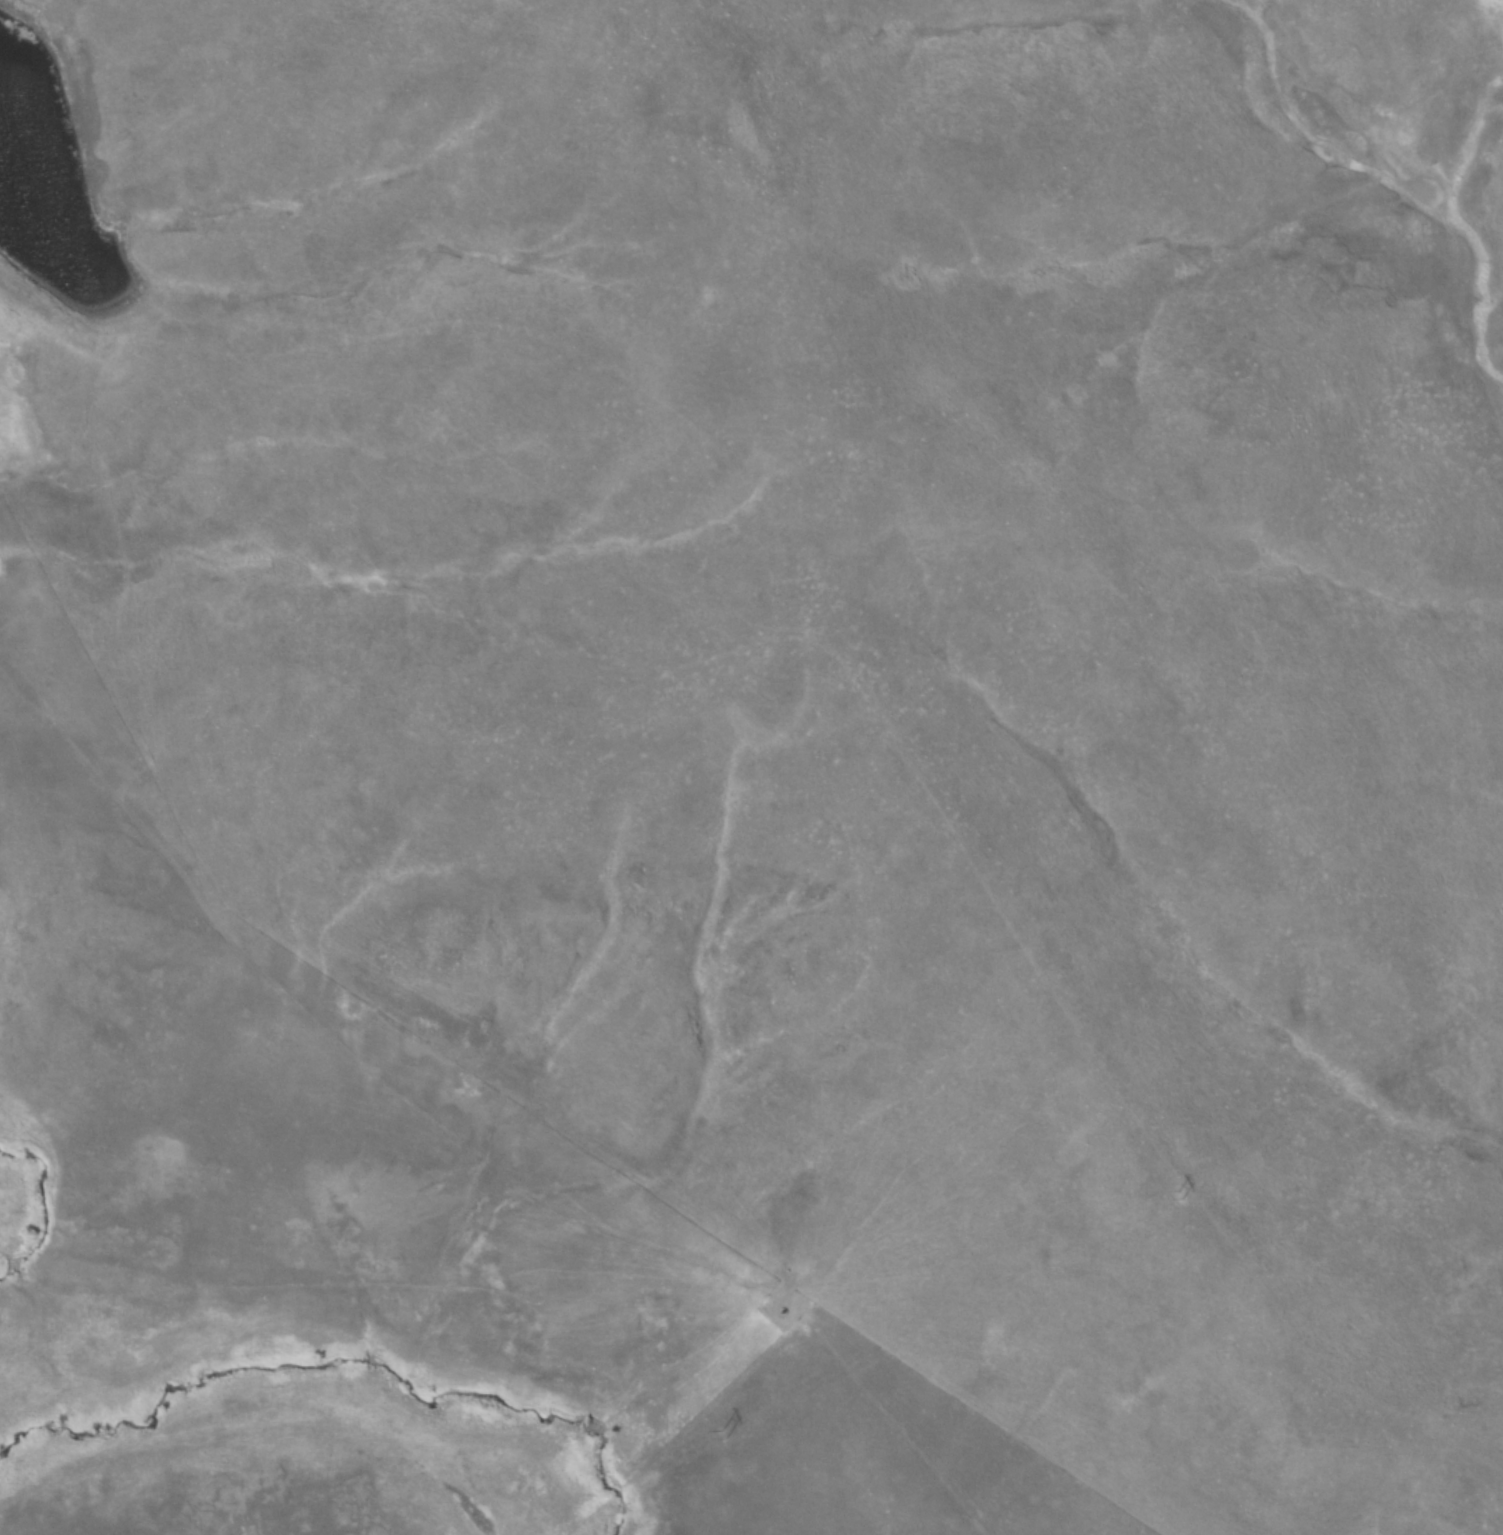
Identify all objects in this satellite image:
power tower: (1177, 1194)
power tower: (720, 1433)

